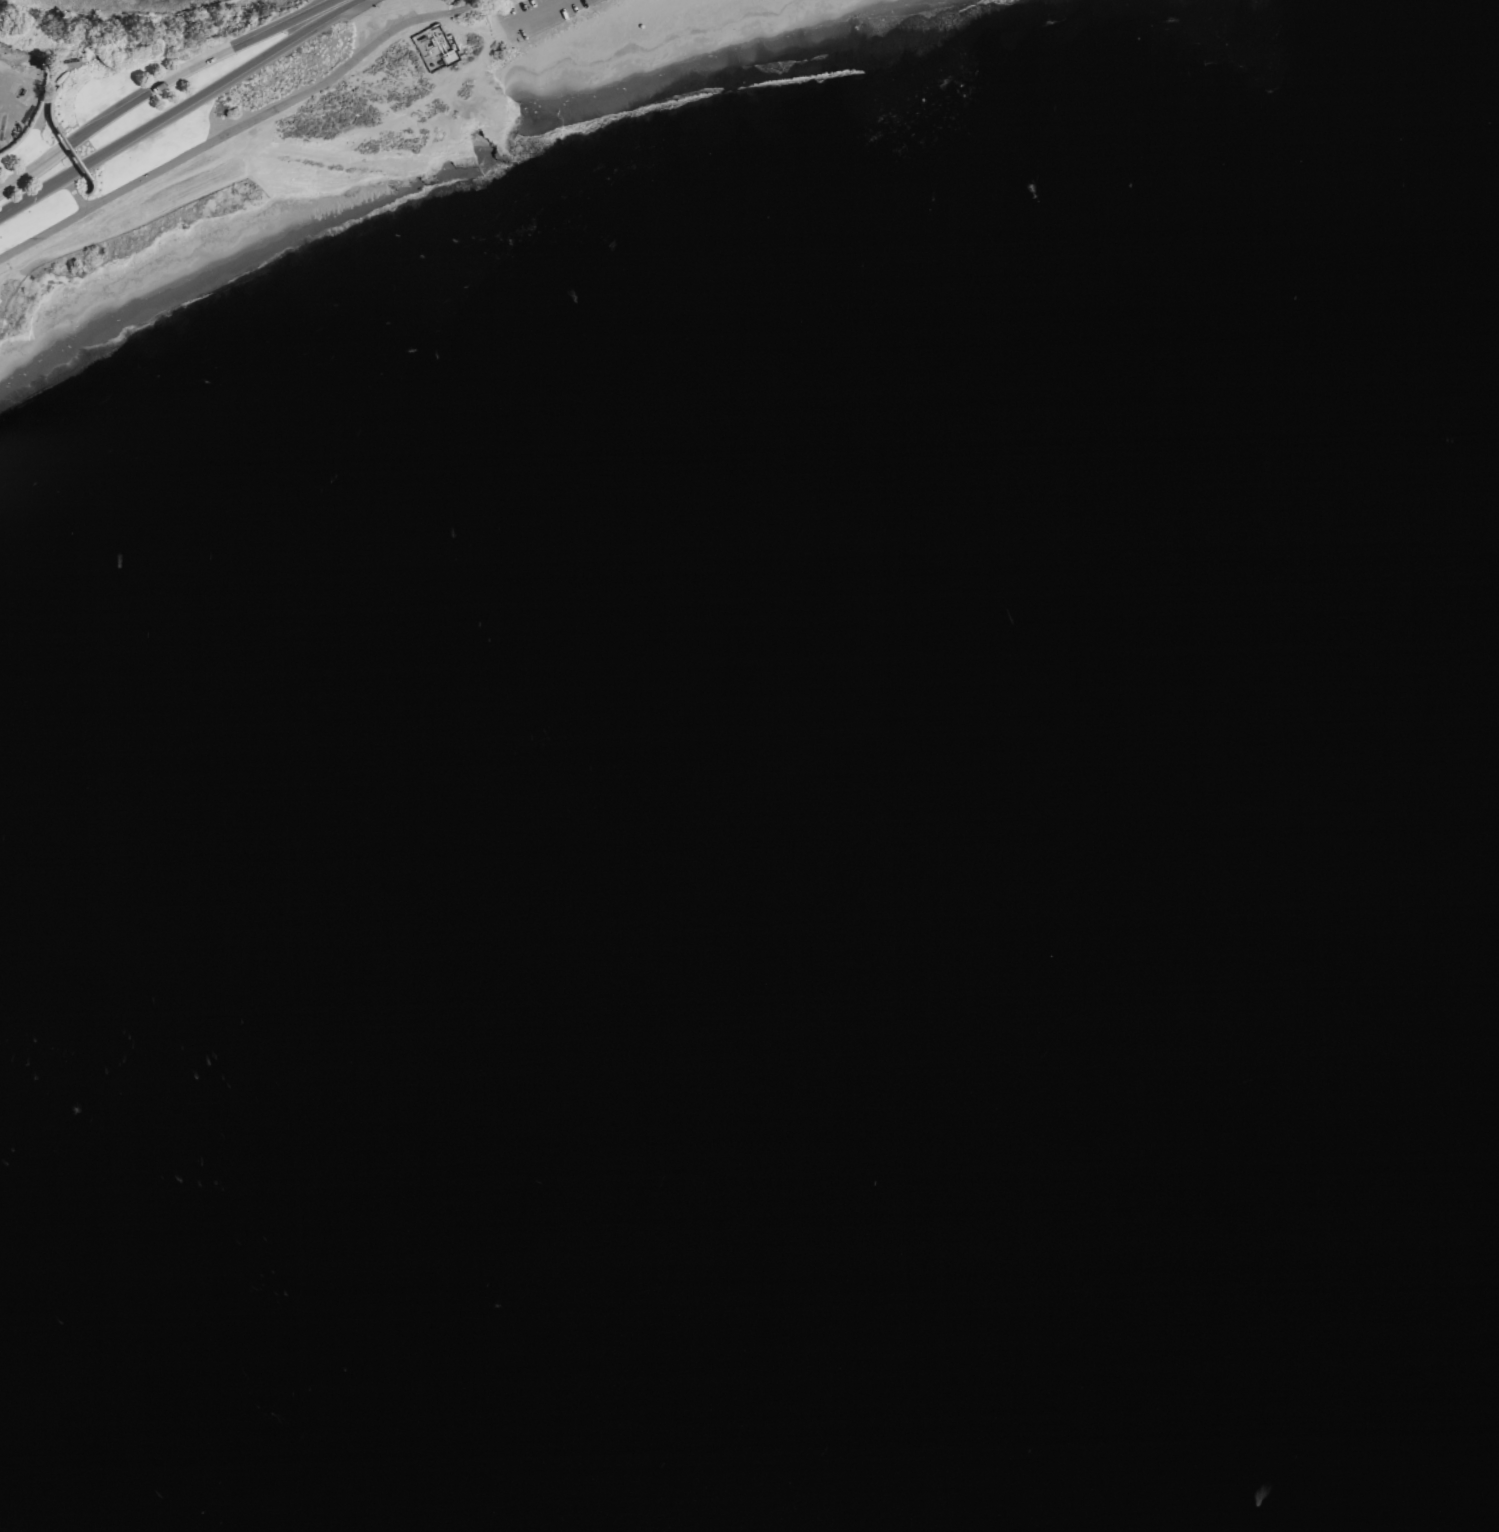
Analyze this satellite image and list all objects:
road: (329, 8)
road: (534, 13)
parking lot: (537, 16)
park: (611, 41)
building: (435, 48)
road: (167, 80)
road: (190, 100)
road: (243, 123)
road: (16, 174)
road: (18, 182)
road: (73, 194)
road: (31, 195)

